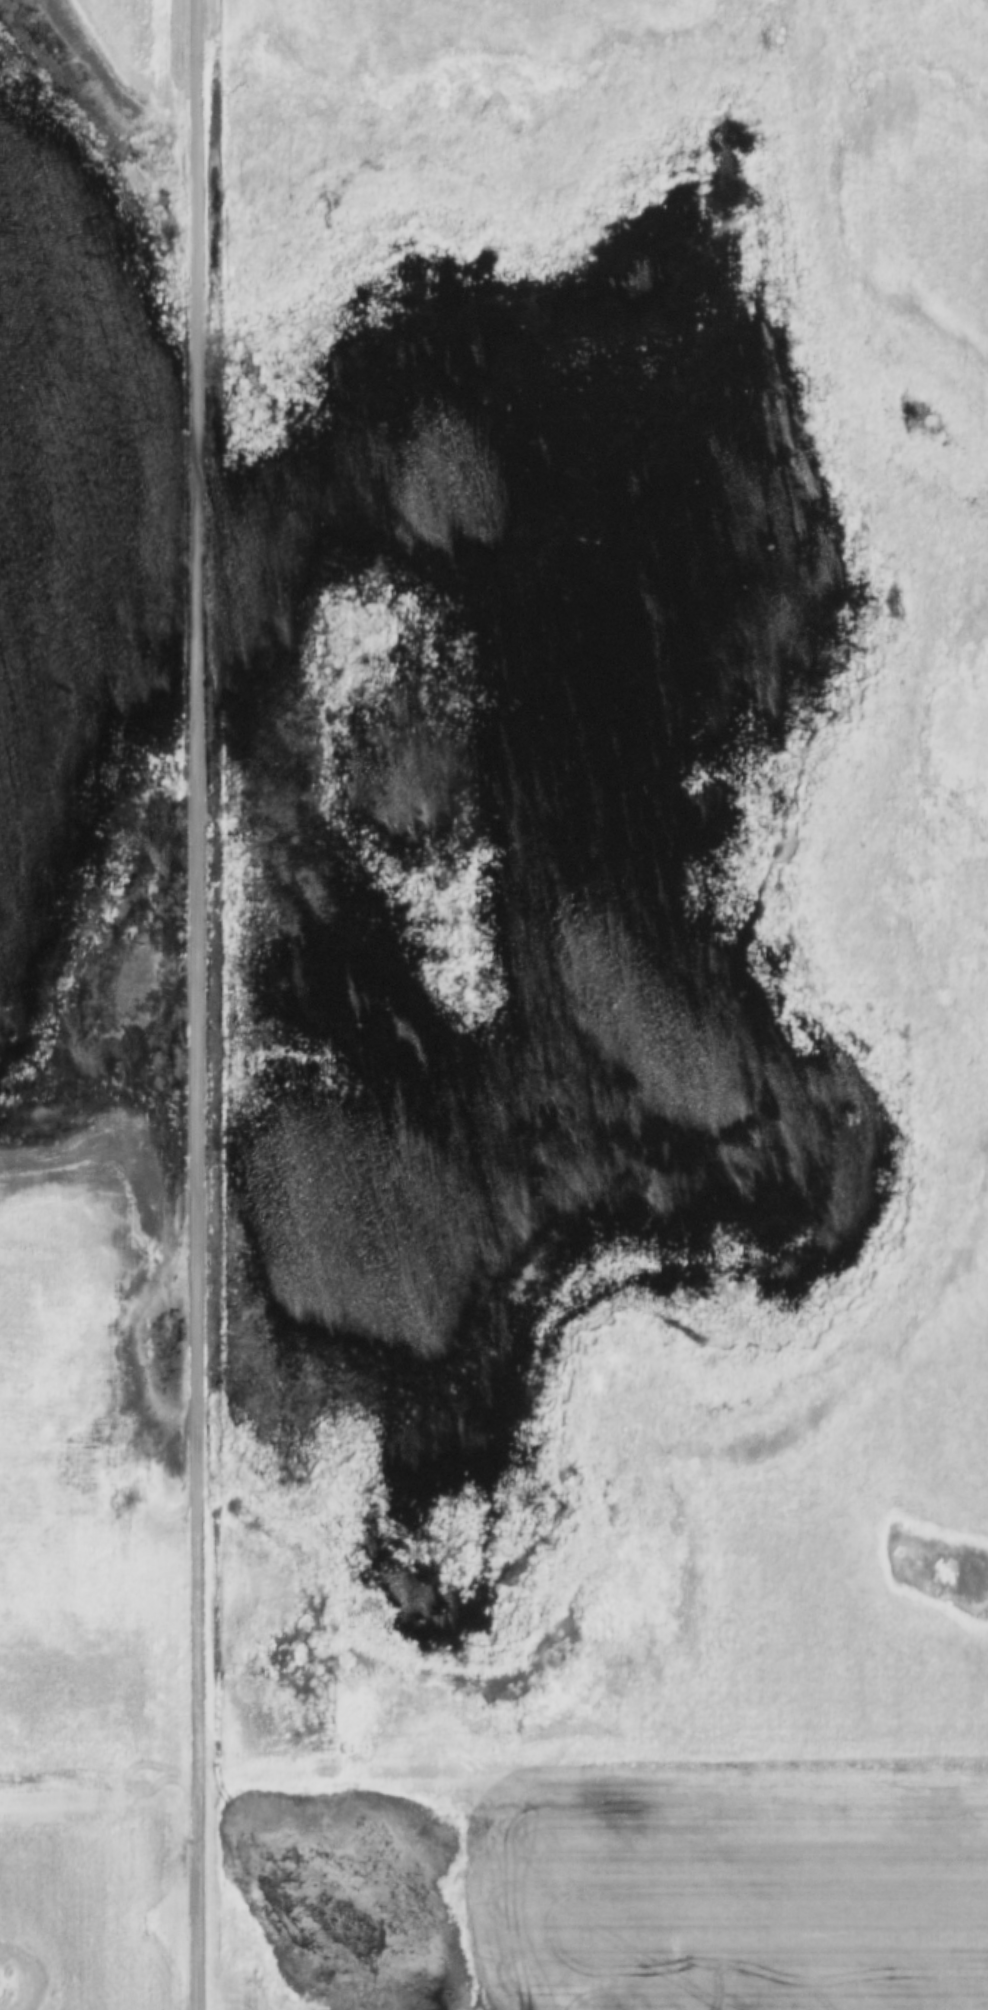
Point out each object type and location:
road: (195, 1004)

